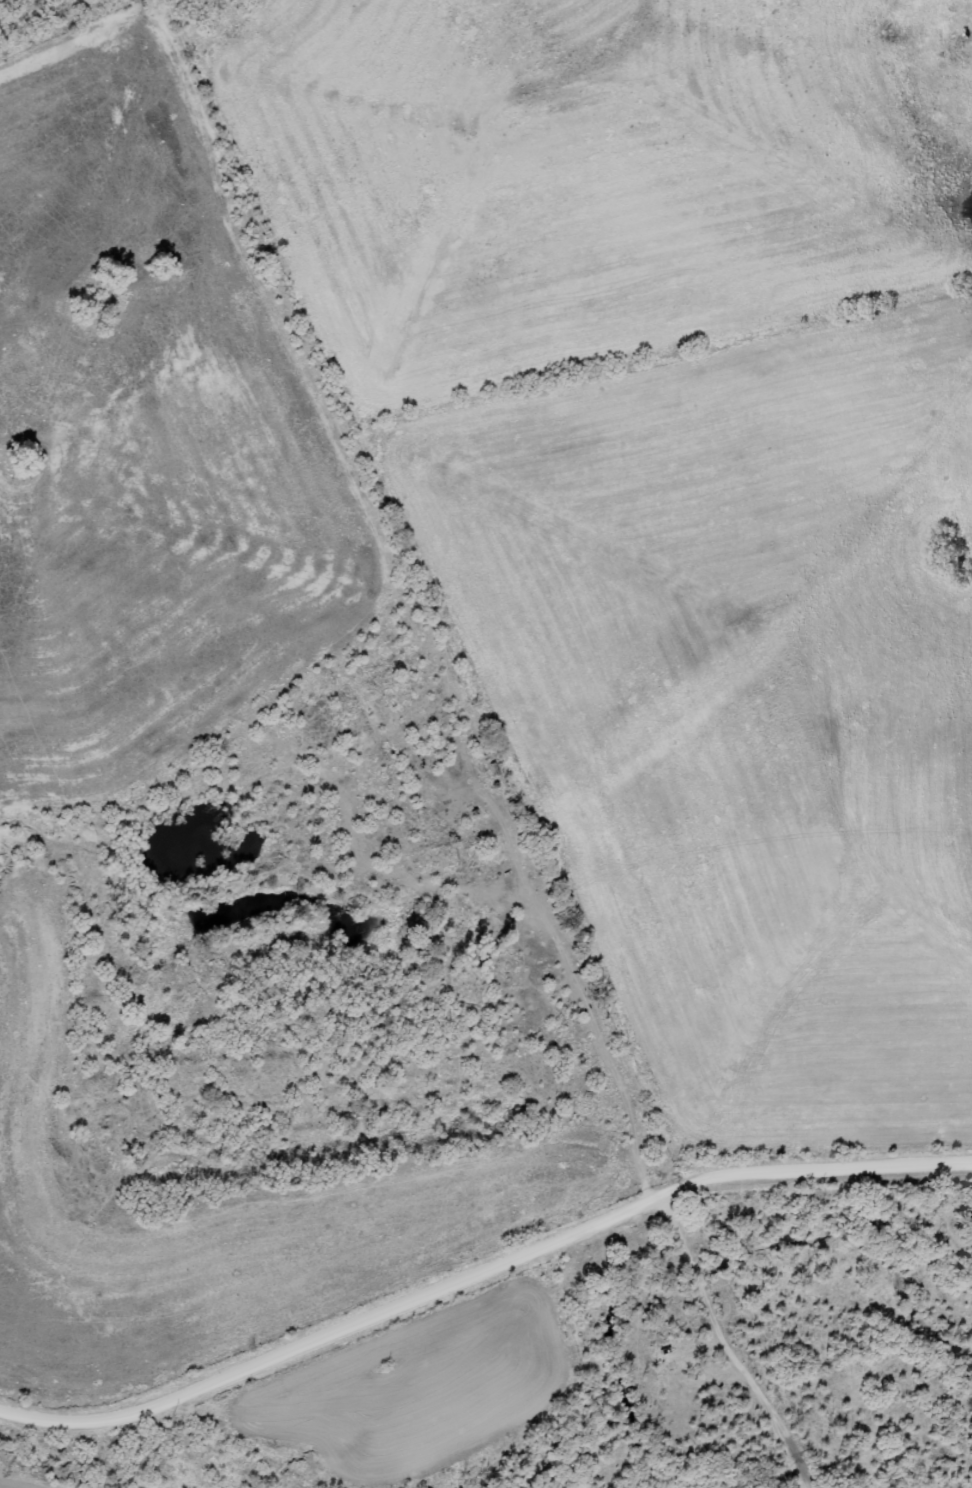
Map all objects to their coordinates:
road: (574, 822)
road: (705, 1179)
building: (603, 1267)
road: (800, 1383)
road: (235, 1395)

